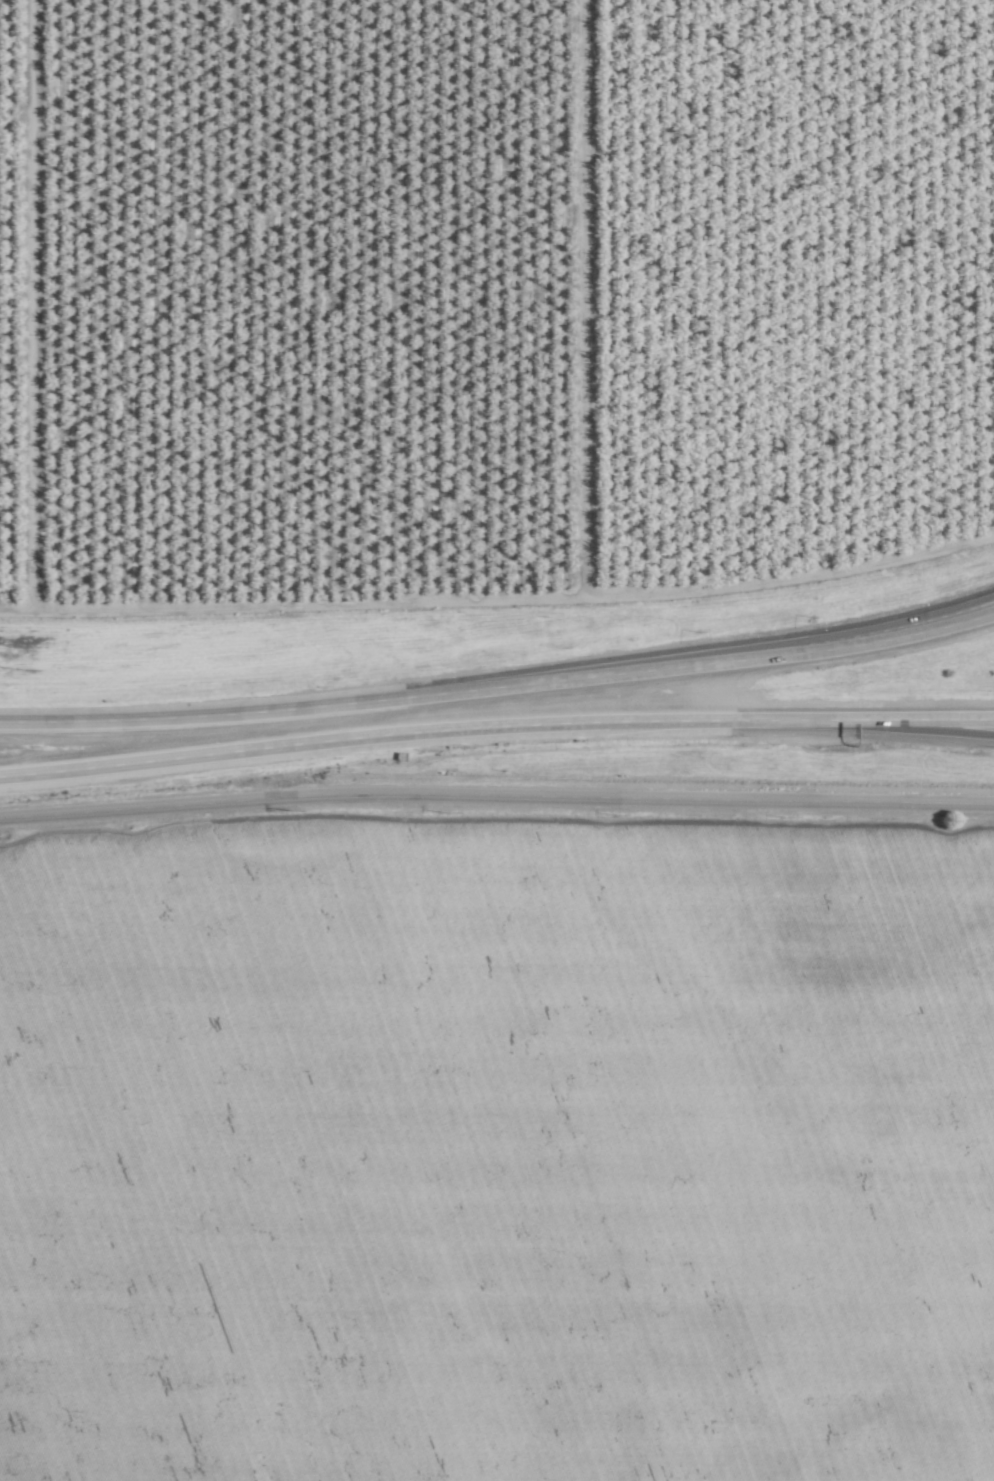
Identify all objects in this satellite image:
road: (937, 612)
road: (698, 664)
road: (199, 713)
road: (936, 720)
road: (516, 722)
road: (935, 732)
road: (78, 764)
road: (496, 806)

